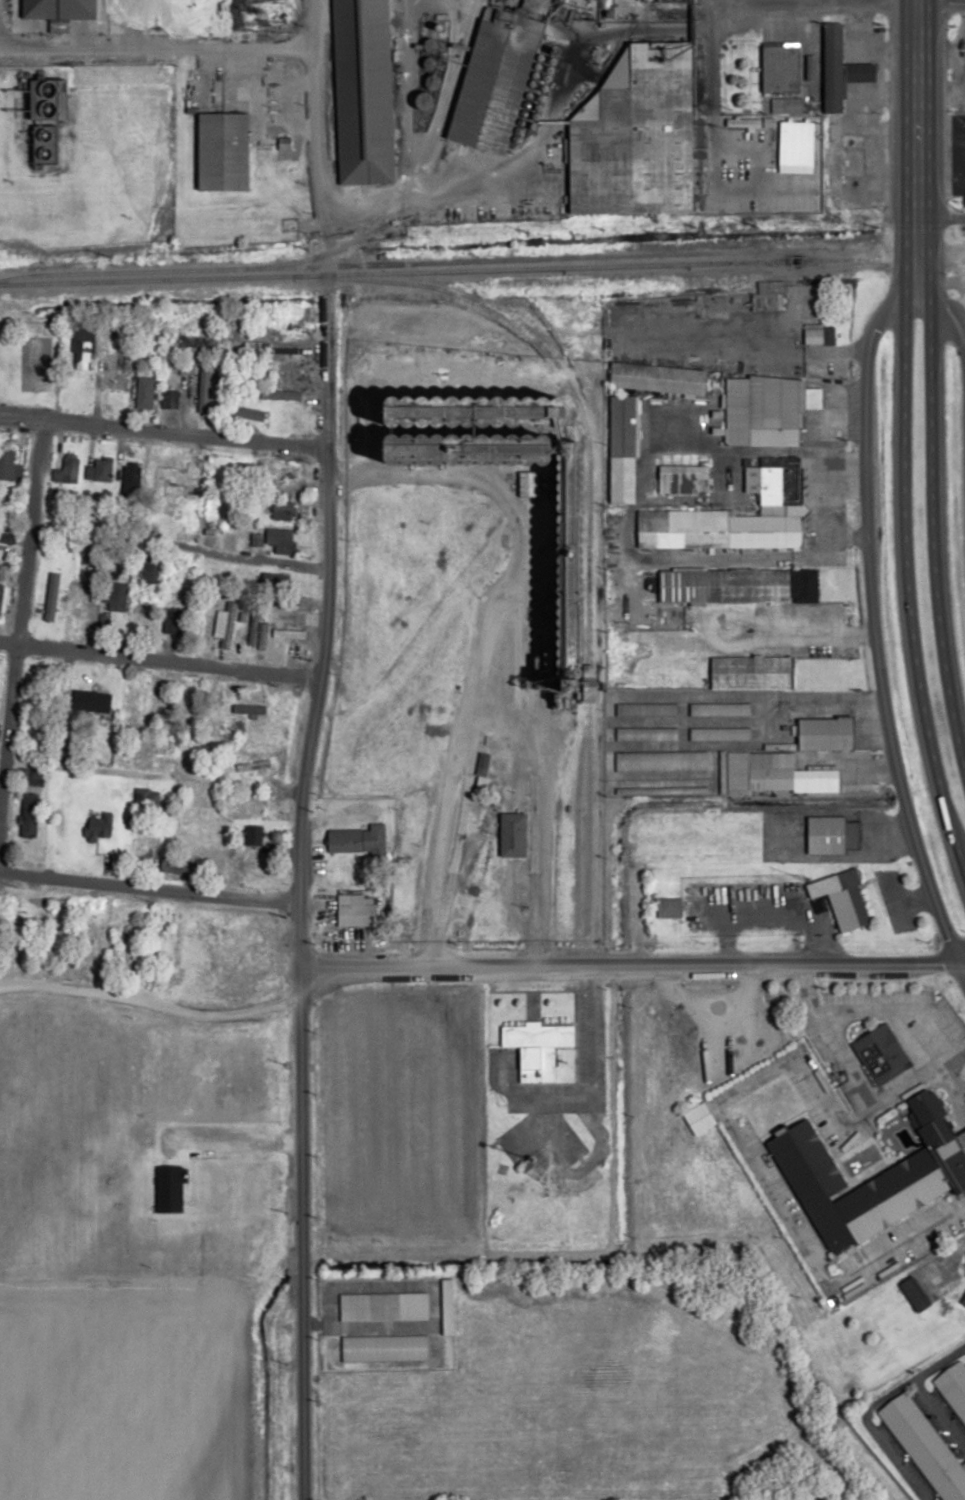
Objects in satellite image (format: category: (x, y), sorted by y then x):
road: (836, 2)
building: (59, 9)
building: (157, 9)
road: (155, 43)
road: (709, 51)
building: (780, 67)
building: (840, 68)
building: (497, 79)
building: (364, 93)
building: (43, 119)
road: (915, 136)
building: (638, 139)
building: (223, 152)
building: (855, 155)
road: (940, 217)
railway: (908, 253)
railway: (425, 269)
building: (743, 299)
building: (196, 341)
building: (81, 348)
building: (119, 373)
building: (658, 377)
building: (202, 388)
building: (144, 393)
building: (279, 395)
building: (169, 399)
building: (767, 409)
building: (240, 412)
road: (161, 434)
building: (622, 449)
road: (862, 461)
building: (9, 466)
building: (175, 468)
building: (99, 469)
building: (67, 470)
building: (287, 471)
building: (130, 477)
building: (684, 480)
building: (283, 510)
road: (517, 517)
building: (734, 517)
building: (6, 539)
building: (283, 541)
road: (930, 542)
building: (573, 558)
building: (151, 570)
building: (4, 571)
building: (274, 580)
building: (738, 586)
road: (905, 587)
building: (92, 588)
building: (1, 592)
road: (19, 595)
building: (51, 597)
building: (115, 598)
building: (84, 614)
building: (289, 621)
building: (228, 624)
building: (253, 629)
building: (288, 633)
road: (156, 662)
building: (750, 673)
building: (76, 687)
building: (159, 697)
building: (248, 709)
building: (645, 709)
building: (719, 709)
road: (490, 725)
building: (645, 733)
building: (719, 733)
building: (826, 734)
building: (778, 747)
road: (304, 749)
building: (660, 761)
road: (75, 766)
building: (771, 774)
building: (29, 777)
building: (661, 790)
building: (146, 797)
building: (254, 804)
building: (28, 815)
building: (831, 834)
building: (252, 835)
building: (513, 835)
building: (355, 840)
building: (142, 850)
building: (174, 865)
road: (148, 891)
building: (840, 898)
building: (669, 907)
building: (356, 914)
road: (630, 967)
road: (151, 1001)
building: (537, 1048)
building: (881, 1054)
road: (589, 1065)
road: (855, 1082)
road: (953, 1096)
building: (699, 1118)
road: (752, 1166)
building: (928, 1167)
building: (913, 1293)
building: (963, 1299)
building: (383, 1306)
building: (446, 1306)
building: (384, 1347)
road: (910, 1381)
building: (953, 1388)
road: (938, 1416)
building: (924, 1447)
road: (894, 1459)
road: (964, 1467)

